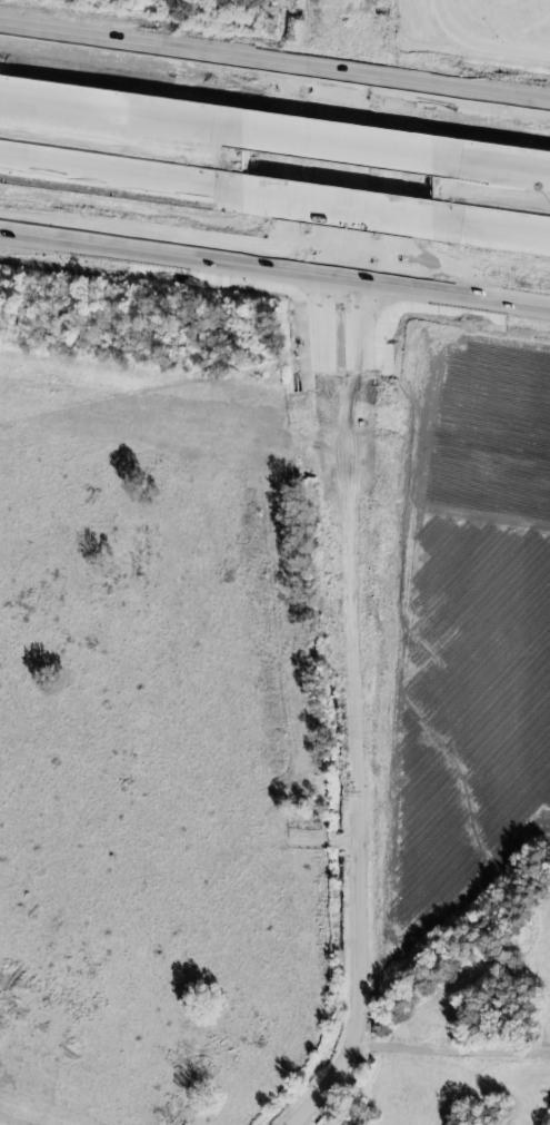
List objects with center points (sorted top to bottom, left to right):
road: (478, 45)
road: (274, 60)
road: (122, 118)
road: (339, 149)
road: (392, 152)
road: (314, 169)
road: (491, 170)
road: (356, 175)
road: (122, 182)
road: (286, 188)
building: (341, 207)
road: (340, 214)
road: (492, 236)
road: (274, 267)
road: (351, 1032)
road: (450, 1043)

